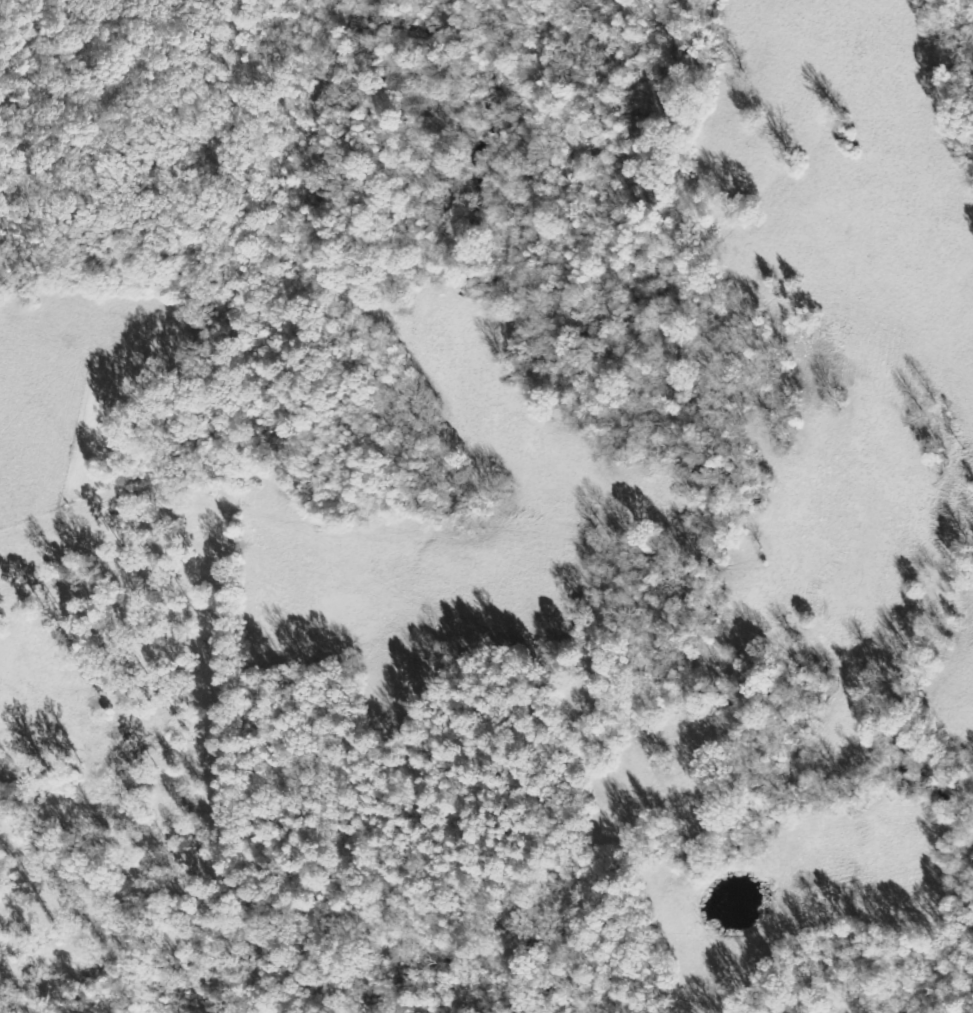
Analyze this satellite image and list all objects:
road: (955, 40)
road: (864, 914)

